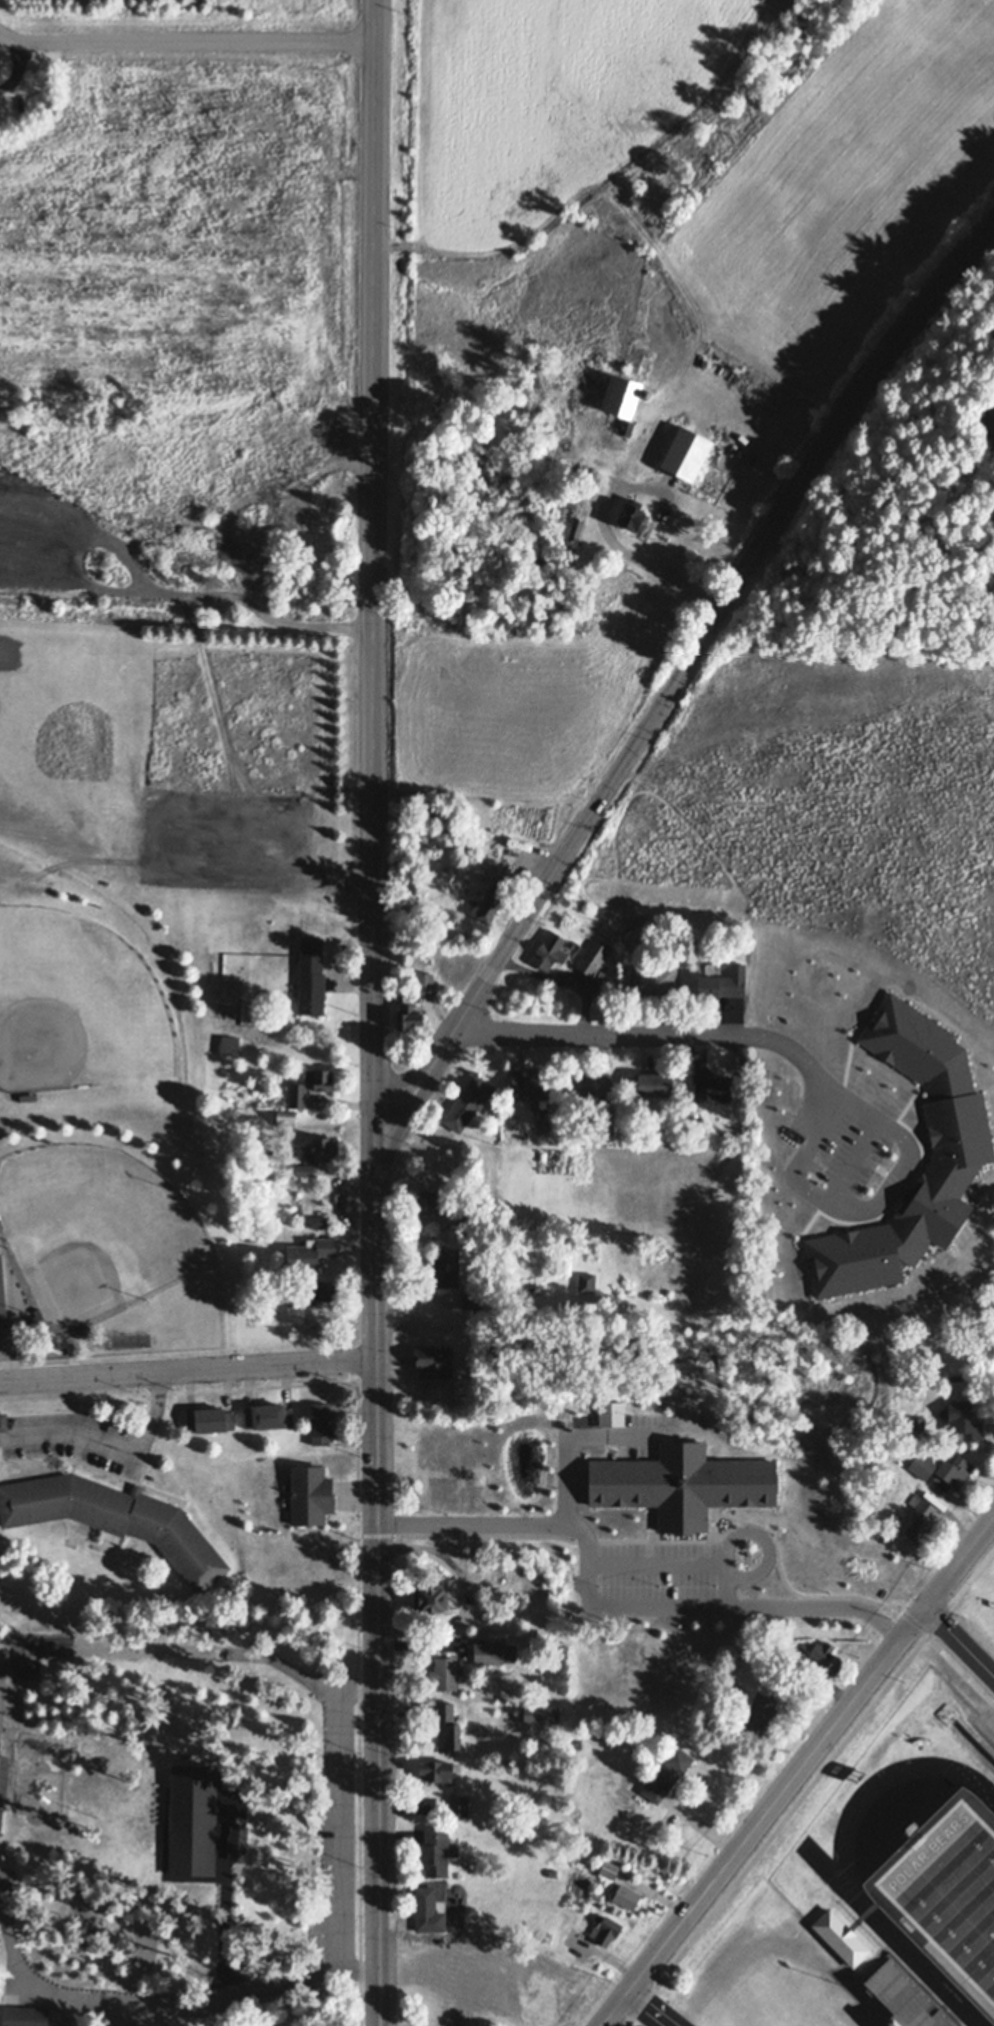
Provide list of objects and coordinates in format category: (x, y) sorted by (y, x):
road: (187, 41)
road: (685, 47)
road: (12, 63)
building: (646, 393)
building: (621, 395)
building: (991, 401)
building: (336, 410)
building: (627, 426)
building: (986, 428)
building: (284, 452)
building: (686, 453)
building: (213, 458)
building: (577, 478)
building: (333, 488)
building: (633, 515)
building: (577, 530)
building: (298, 538)
building: (257, 539)
road: (618, 540)
building: (217, 587)
parking lot: (224, 840)
road: (340, 879)
building: (491, 899)
building: (670, 931)
building: (549, 951)
building: (593, 958)
road: (494, 968)
building: (655, 980)
building: (425, 982)
building: (723, 984)
building: (311, 985)
building: (235, 989)
park: (78, 1009)
road: (374, 1013)
building: (409, 1018)
road: (592, 1037)
building: (229, 1045)
building: (320, 1079)
building: (588, 1083)
building: (655, 1085)
building: (529, 1086)
building: (712, 1086)
building: (298, 1095)
building: (28, 1097)
building: (468, 1103)
building: (286, 1116)
building: (604, 1133)
park: (104, 1140)
building: (321, 1149)
road: (847, 1156)
building: (305, 1170)
road: (796, 1178)
building: (427, 1203)
building: (474, 1212)
building: (318, 1222)
park: (94, 1226)
building: (252, 1236)
building: (310, 1253)
building: (446, 1267)
building: (586, 1281)
building: (320, 1291)
building: (2, 1293)
building: (473, 1300)
building: (295, 1313)
building: (427, 1351)
road: (188, 1370)
building: (268, 1418)
building: (211, 1421)
building: (3, 1422)
building: (962, 1423)
building: (322, 1424)
building: (917, 1427)
road: (559, 1431)
road: (112, 1447)
building: (941, 1471)
building: (683, 1484)
building: (438, 1495)
building: (310, 1496)
building: (115, 1519)
building: (920, 1521)
road: (733, 1529)
building: (468, 1547)
road: (651, 1558)
building: (472, 1564)
road: (722, 1581)
building: (894, 1587)
building: (876, 1588)
road: (611, 1600)
building: (435, 1602)
building: (487, 1614)
road: (960, 1641)
building: (493, 1653)
building: (792, 1657)
building: (826, 1659)
road: (190, 1662)
building: (446, 1675)
building: (541, 1714)
building: (760, 1715)
building: (447, 1730)
building: (578, 1744)
building: (436, 1773)
road: (796, 1773)
building: (667, 1775)
park: (192, 1780)
building: (459, 1807)
building: (1, 1818)
building: (192, 1822)
building: (237, 1845)
building: (437, 1854)
building: (609, 1871)
building: (552, 1872)
track: (935, 1876)
park: (942, 1887)
track: (849, 1891)
building: (627, 1899)
building: (428, 1913)
building: (605, 1931)
park: (0, 1981)
road: (174, 2004)
road: (651, 2007)
building: (24, 2016)
building: (917, 2019)

